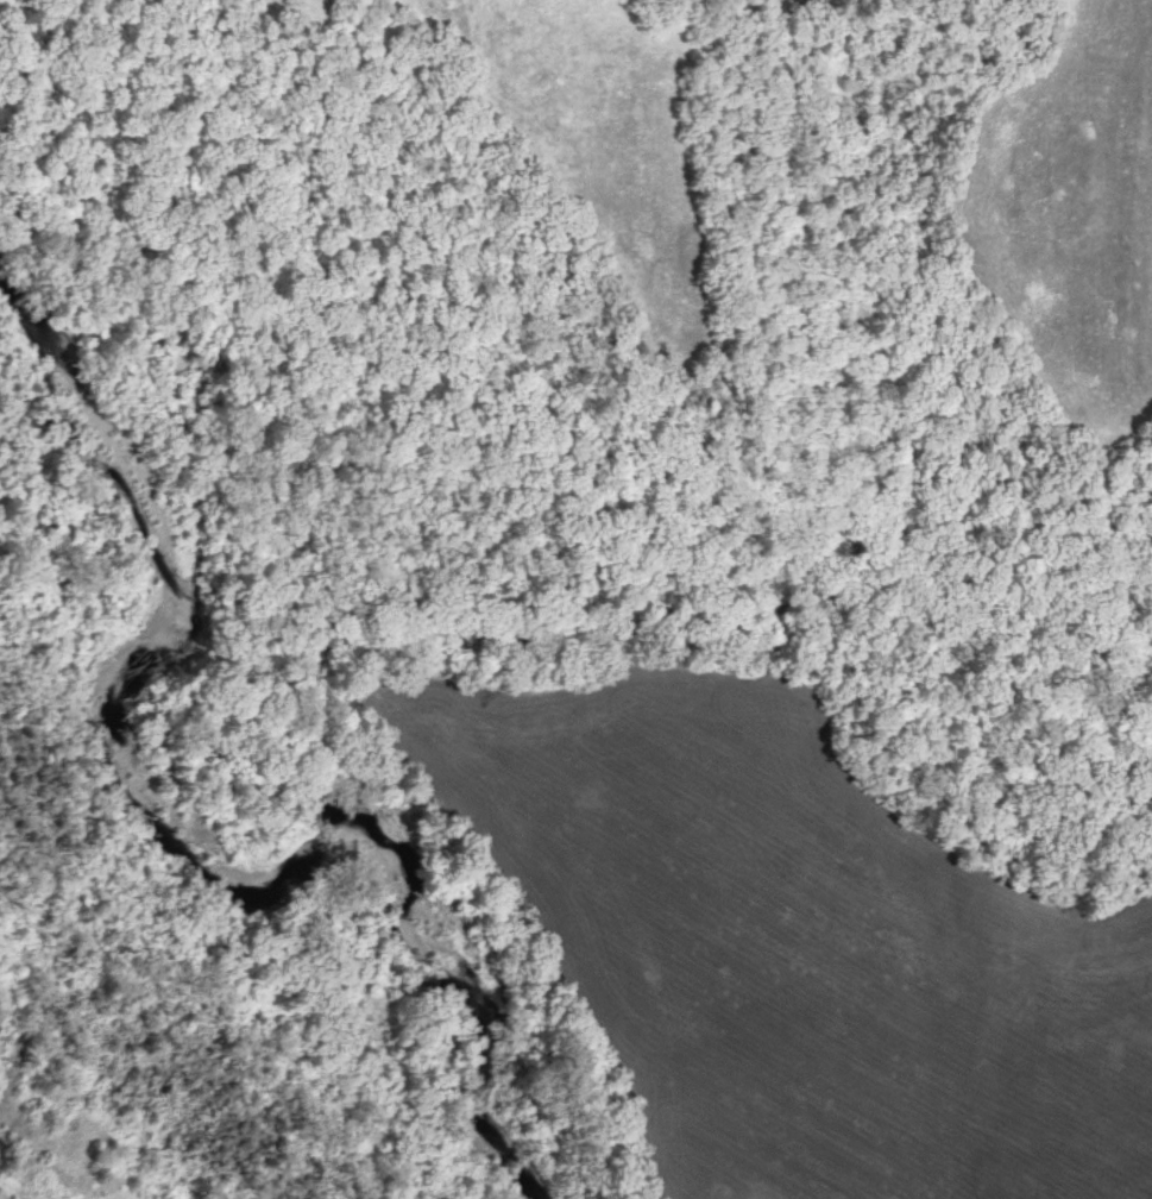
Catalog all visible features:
river: (151, 806)

